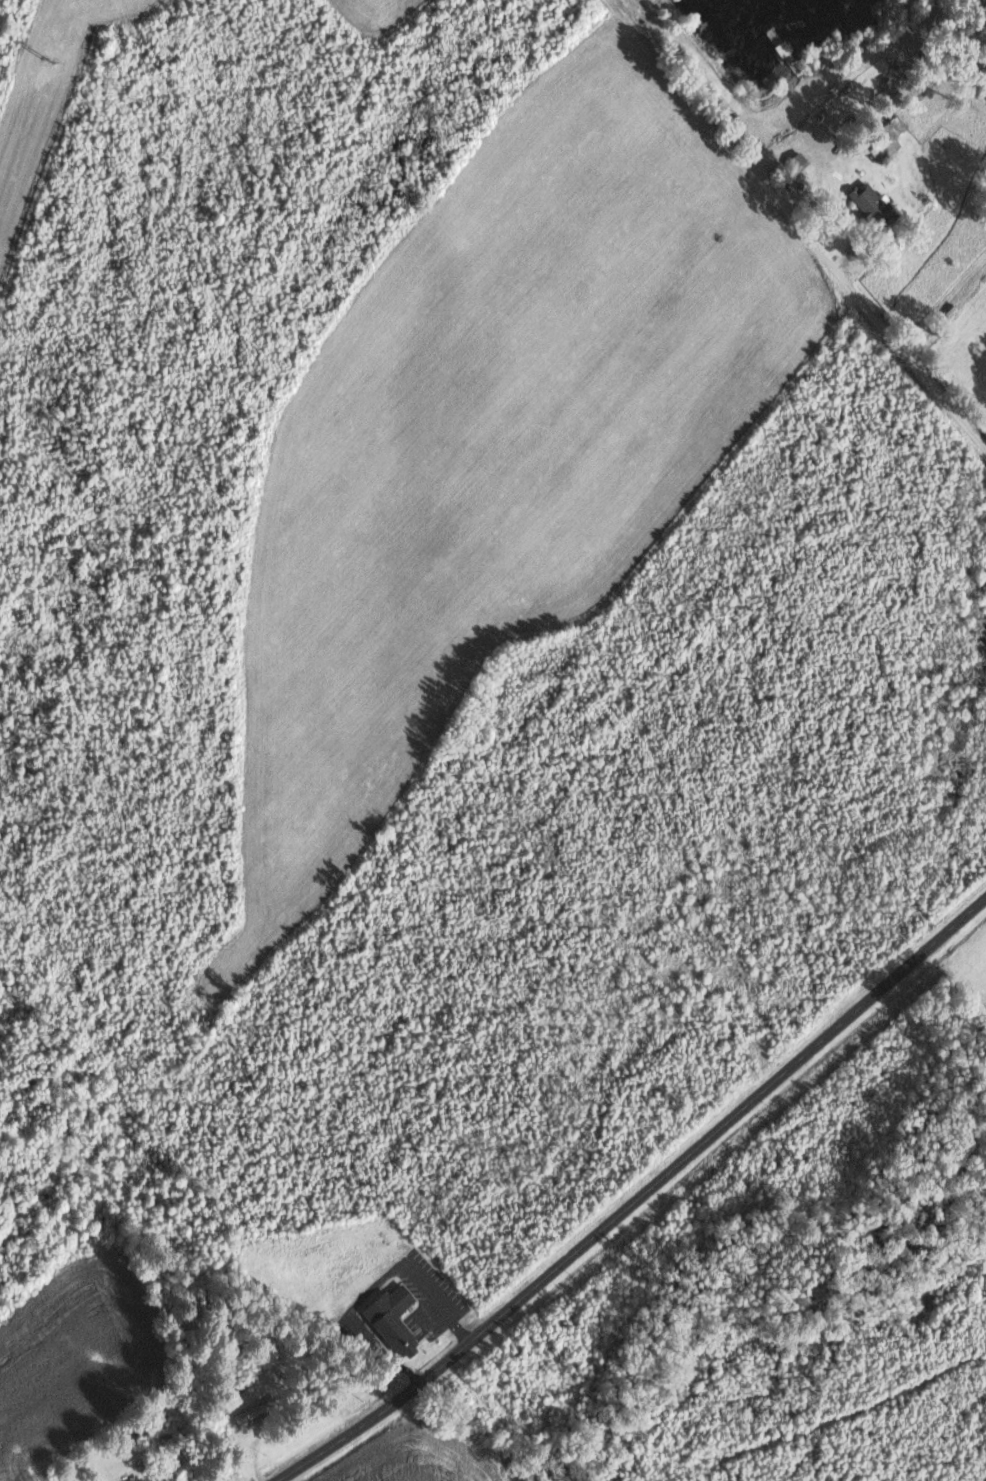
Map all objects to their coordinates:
power tower: (49, 60)
building: (887, 138)
building: (800, 159)
building: (873, 205)
road: (874, 316)
road: (636, 1198)
building: (393, 1317)
building: (254, 1411)
building: (139, 1479)

